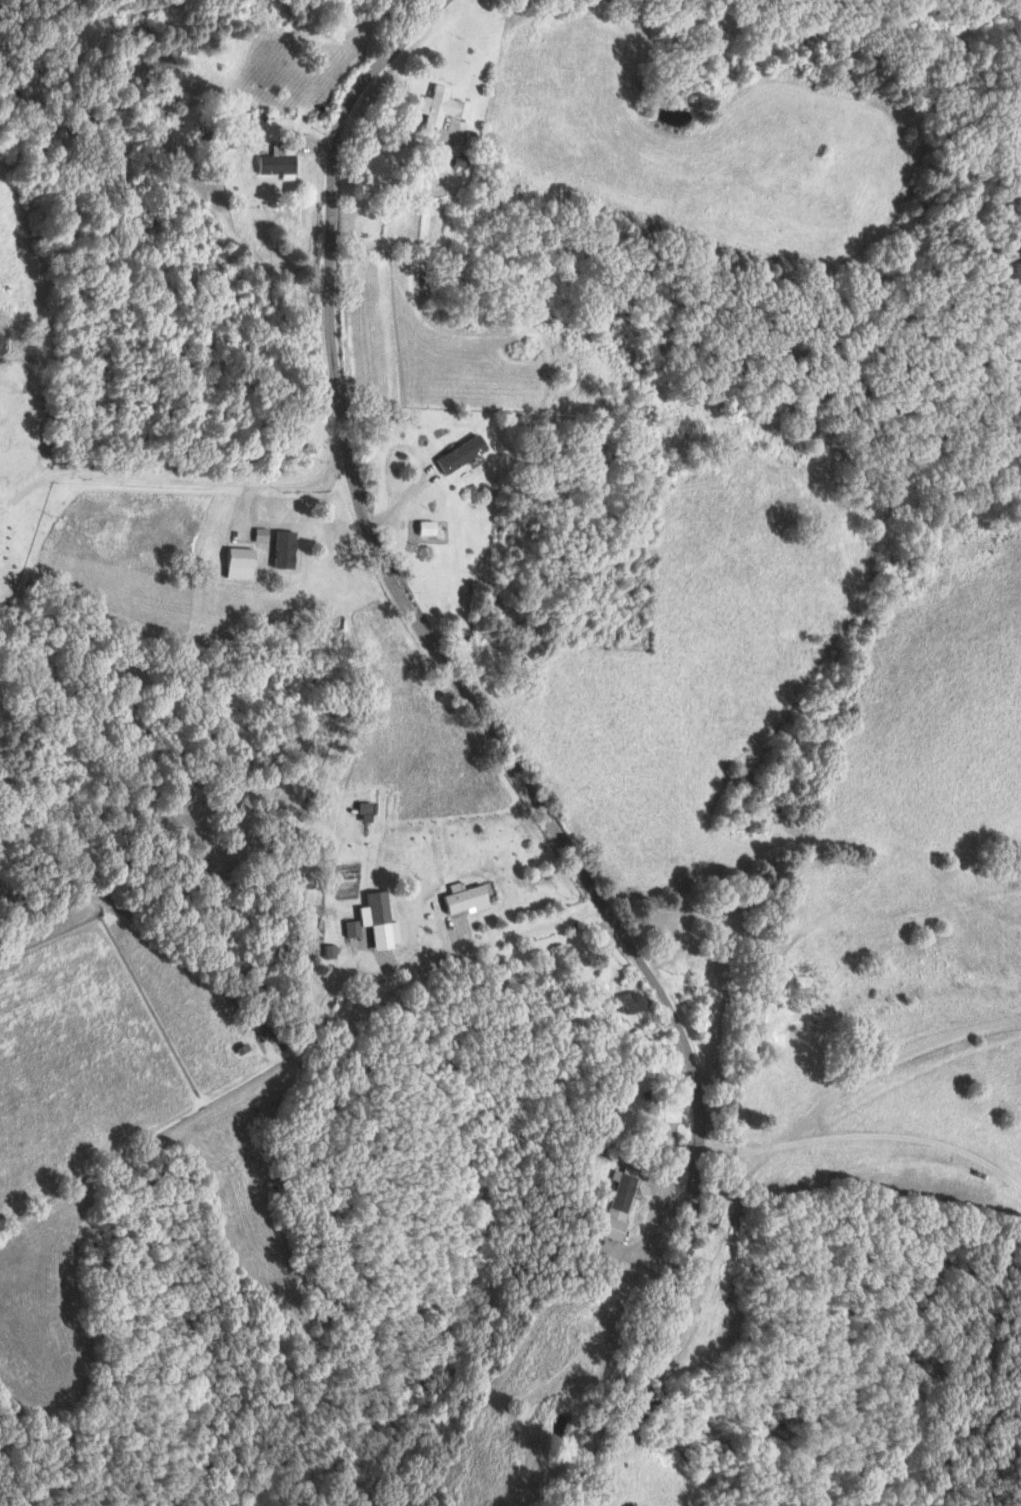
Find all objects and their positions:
building: (443, 106)
road: (389, 138)
building: (280, 160)
road: (325, 260)
building: (464, 453)
road: (347, 475)
road: (32, 477)
road: (176, 480)
road: (399, 492)
building: (242, 557)
building: (468, 898)
building: (380, 921)
building: (353, 928)
building: (330, 951)
road: (453, 952)
road: (656, 988)
building: (633, 1002)
road: (897, 1059)
road: (863, 1130)
building: (612, 1206)
road: (640, 1263)

